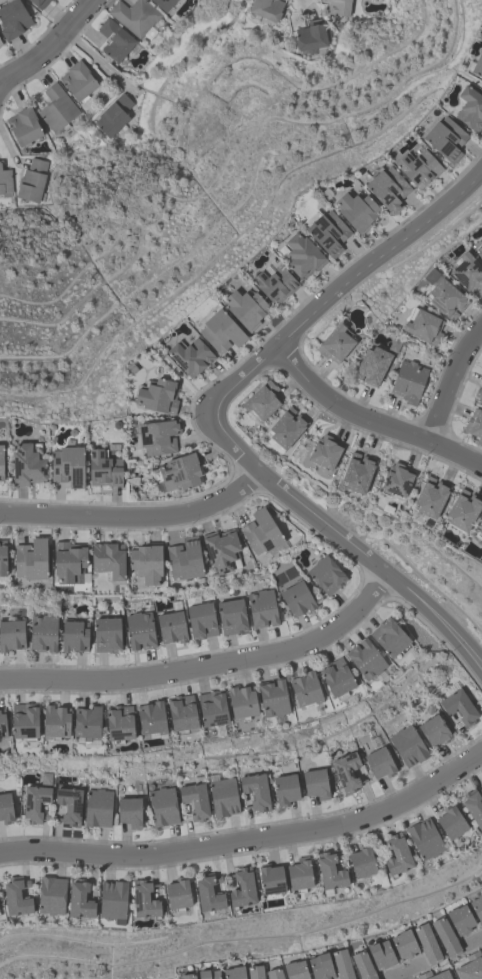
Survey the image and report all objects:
road: (308, 1)
building: (39, 3)
building: (162, 4)
building: (338, 7)
building: (266, 9)
building: (134, 15)
building: (13, 18)
building: (310, 36)
building: (114, 39)
building: (0, 42)
road: (48, 52)
road: (100, 62)
building: (477, 65)
building: (77, 80)
building: (470, 107)
building: (56, 108)
building: (113, 114)
building: (23, 126)
building: (445, 138)
building: (418, 167)
building: (4, 180)
building: (31, 180)
building: (387, 187)
building: (356, 210)
building: (326, 231)
building: (479, 250)
building: (301, 255)
building: (467, 271)
building: (274, 283)
building: (443, 295)
road: (310, 304)
building: (245, 308)
building: (423, 325)
building: (221, 331)
building: (335, 343)
building: (190, 356)
building: (372, 365)
road: (446, 373)
building: (408, 381)
building: (479, 393)
building: (158, 396)
building: (261, 402)
road: (367, 420)
building: (474, 423)
building: (285, 430)
building: (158, 436)
building: (325, 452)
building: (1, 462)
building: (28, 464)
building: (67, 466)
building: (104, 469)
building: (179, 472)
building: (357, 473)
building: (396, 480)
building: (430, 497)
building: (462, 511)
road: (134, 515)
building: (261, 532)
building: (479, 532)
building: (221, 550)
building: (2, 558)
building: (184, 558)
building: (30, 559)
building: (108, 559)
building: (68, 561)
road: (374, 562)
building: (146, 563)
building: (326, 575)
building: (296, 599)
building: (262, 608)
building: (231, 616)
building: (201, 620)
building: (171, 627)
building: (139, 630)
building: (42, 632)
building: (11, 634)
building: (106, 634)
building: (74, 635)
building: (389, 638)
building: (365, 659)
road: (209, 665)
building: (336, 678)
building: (305, 689)
building: (273, 699)
building: (242, 703)
building: (459, 707)
building: (212, 709)
building: (182, 714)
building: (151, 718)
building: (24, 721)
building: (56, 722)
building: (2, 724)
building: (86, 724)
building: (118, 724)
building: (433, 731)
building: (407, 745)
building: (379, 763)
building: (346, 772)
building: (316, 784)
building: (285, 789)
building: (255, 791)
building: (223, 797)
building: (195, 800)
building: (34, 803)
building: (69, 805)
building: (162, 806)
building: (473, 806)
building: (97, 807)
building: (5, 808)
building: (129, 812)
building: (450, 822)
building: (424, 839)
road: (250, 840)
building: (396, 856)
building: (362, 862)
building: (330, 872)
building: (300, 875)
building: (271, 880)
building: (243, 888)
building: (178, 894)
building: (209, 894)
building: (51, 895)
building: (16, 897)
building: (113, 900)
building: (144, 900)
building: (80, 901)
building: (477, 907)
building: (0, 913)
building: (460, 919)
building: (445, 937)
road: (474, 937)
building: (427, 943)
building: (404, 944)
building: (381, 954)
building: (341, 964)
building: (320, 966)
building: (362, 966)
building: (470, 967)
road: (403, 969)
building: (295, 970)
building: (234, 972)
building: (255, 972)
building: (273, 973)
building: (208, 974)
road: (405, 974)
building: (433, 975)
building: (187, 976)

